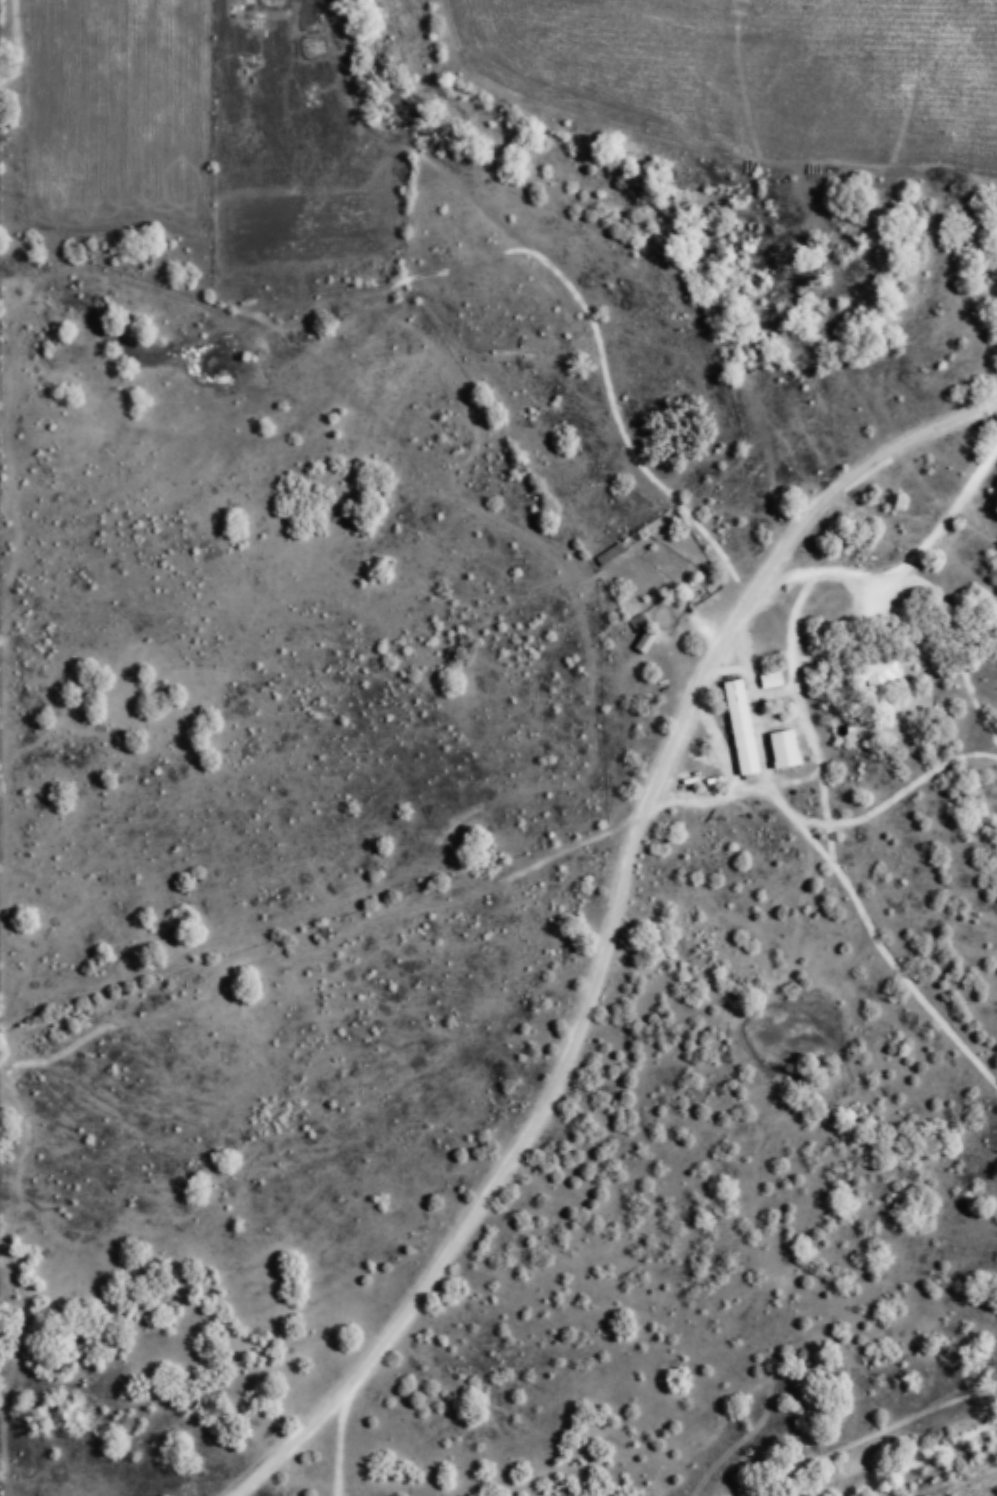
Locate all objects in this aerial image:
road: (257, 104)
building: (612, 555)
road: (896, 612)
building: (646, 635)
building: (813, 672)
building: (882, 678)
building: (772, 680)
road: (836, 713)
building: (743, 728)
building: (787, 749)
road: (616, 935)
road: (855, 1439)
road: (343, 1446)

